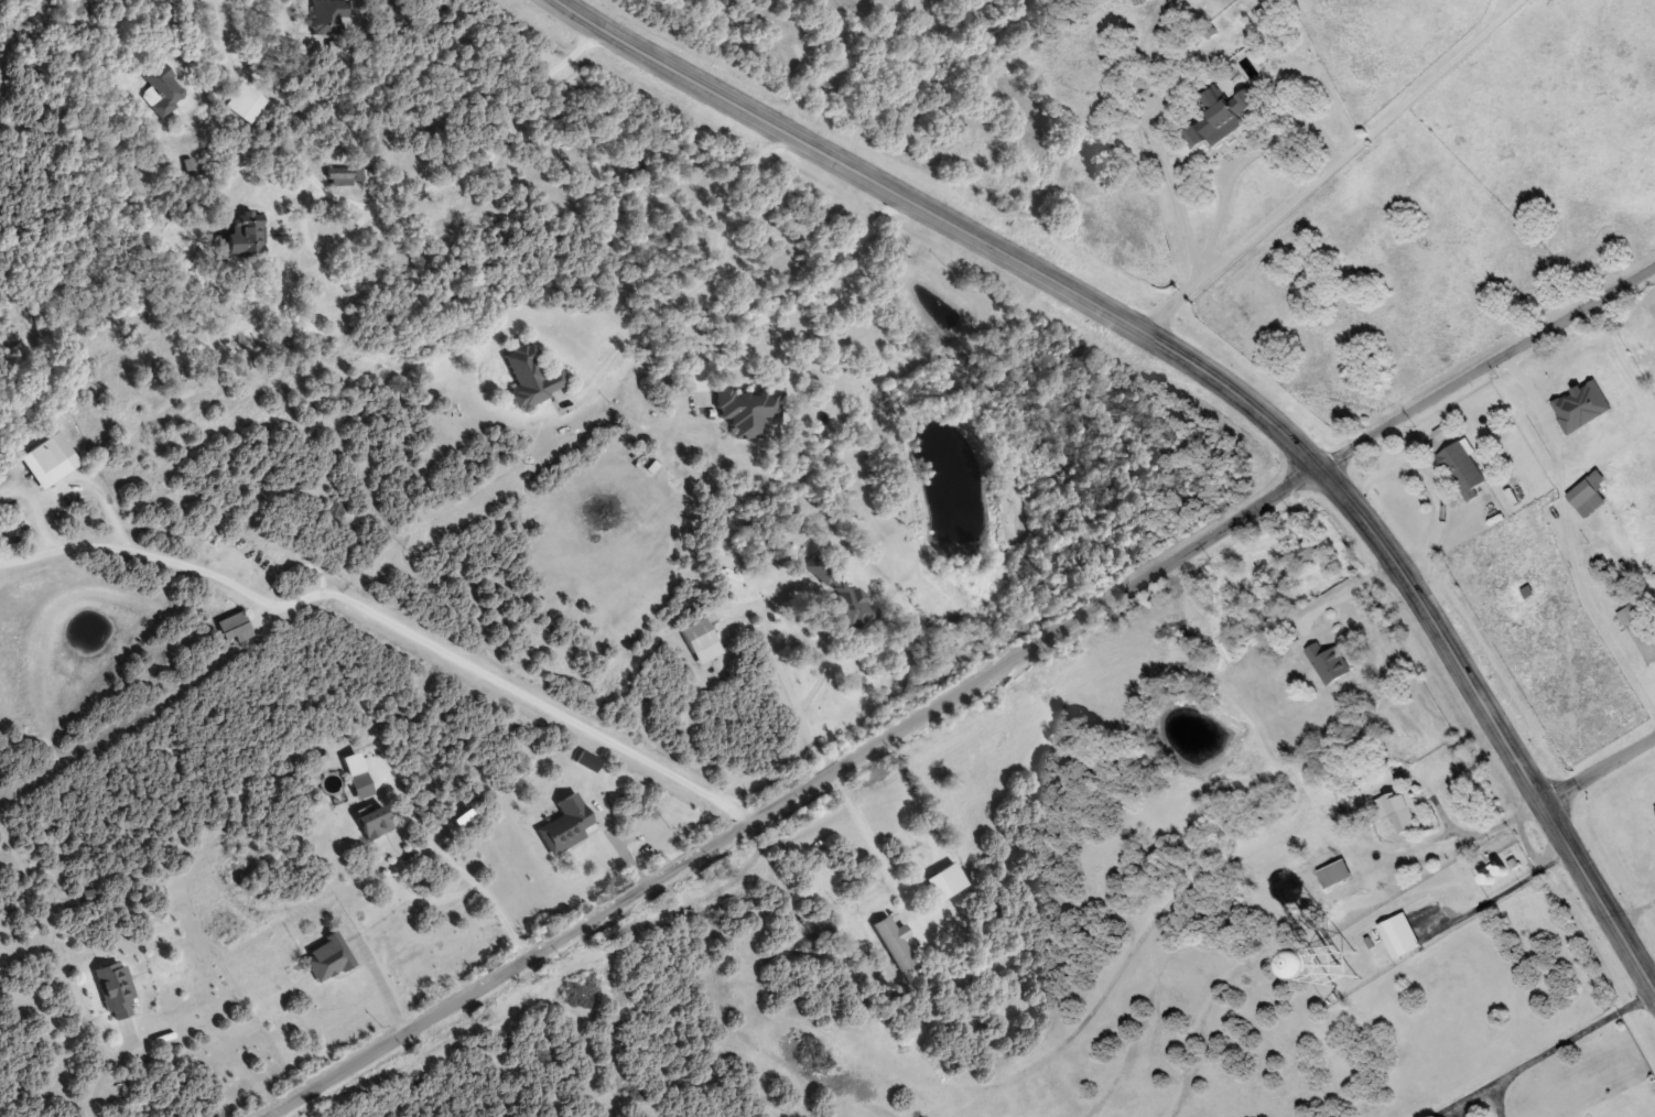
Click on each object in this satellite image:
building: (327, 15)
road: (149, 58)
building: (162, 89)
building: (244, 102)
building: (1220, 117)
road: (1332, 164)
building: (344, 175)
building: (245, 236)
road: (631, 300)
road: (1489, 360)
building: (530, 376)
road: (1214, 379)
building: (746, 409)
building: (1612, 419)
building: (48, 452)
building: (1462, 467)
building: (1589, 492)
road: (829, 527)
building: (843, 595)
building: (232, 628)
building: (700, 640)
building: (1329, 662)
road: (1598, 764)
building: (359, 785)
road: (790, 790)
building: (1398, 810)
building: (371, 822)
building: (564, 823)
building: (1334, 874)
building: (945, 881)
building: (1394, 940)
building: (895, 942)
building: (326, 957)
building: (115, 988)

